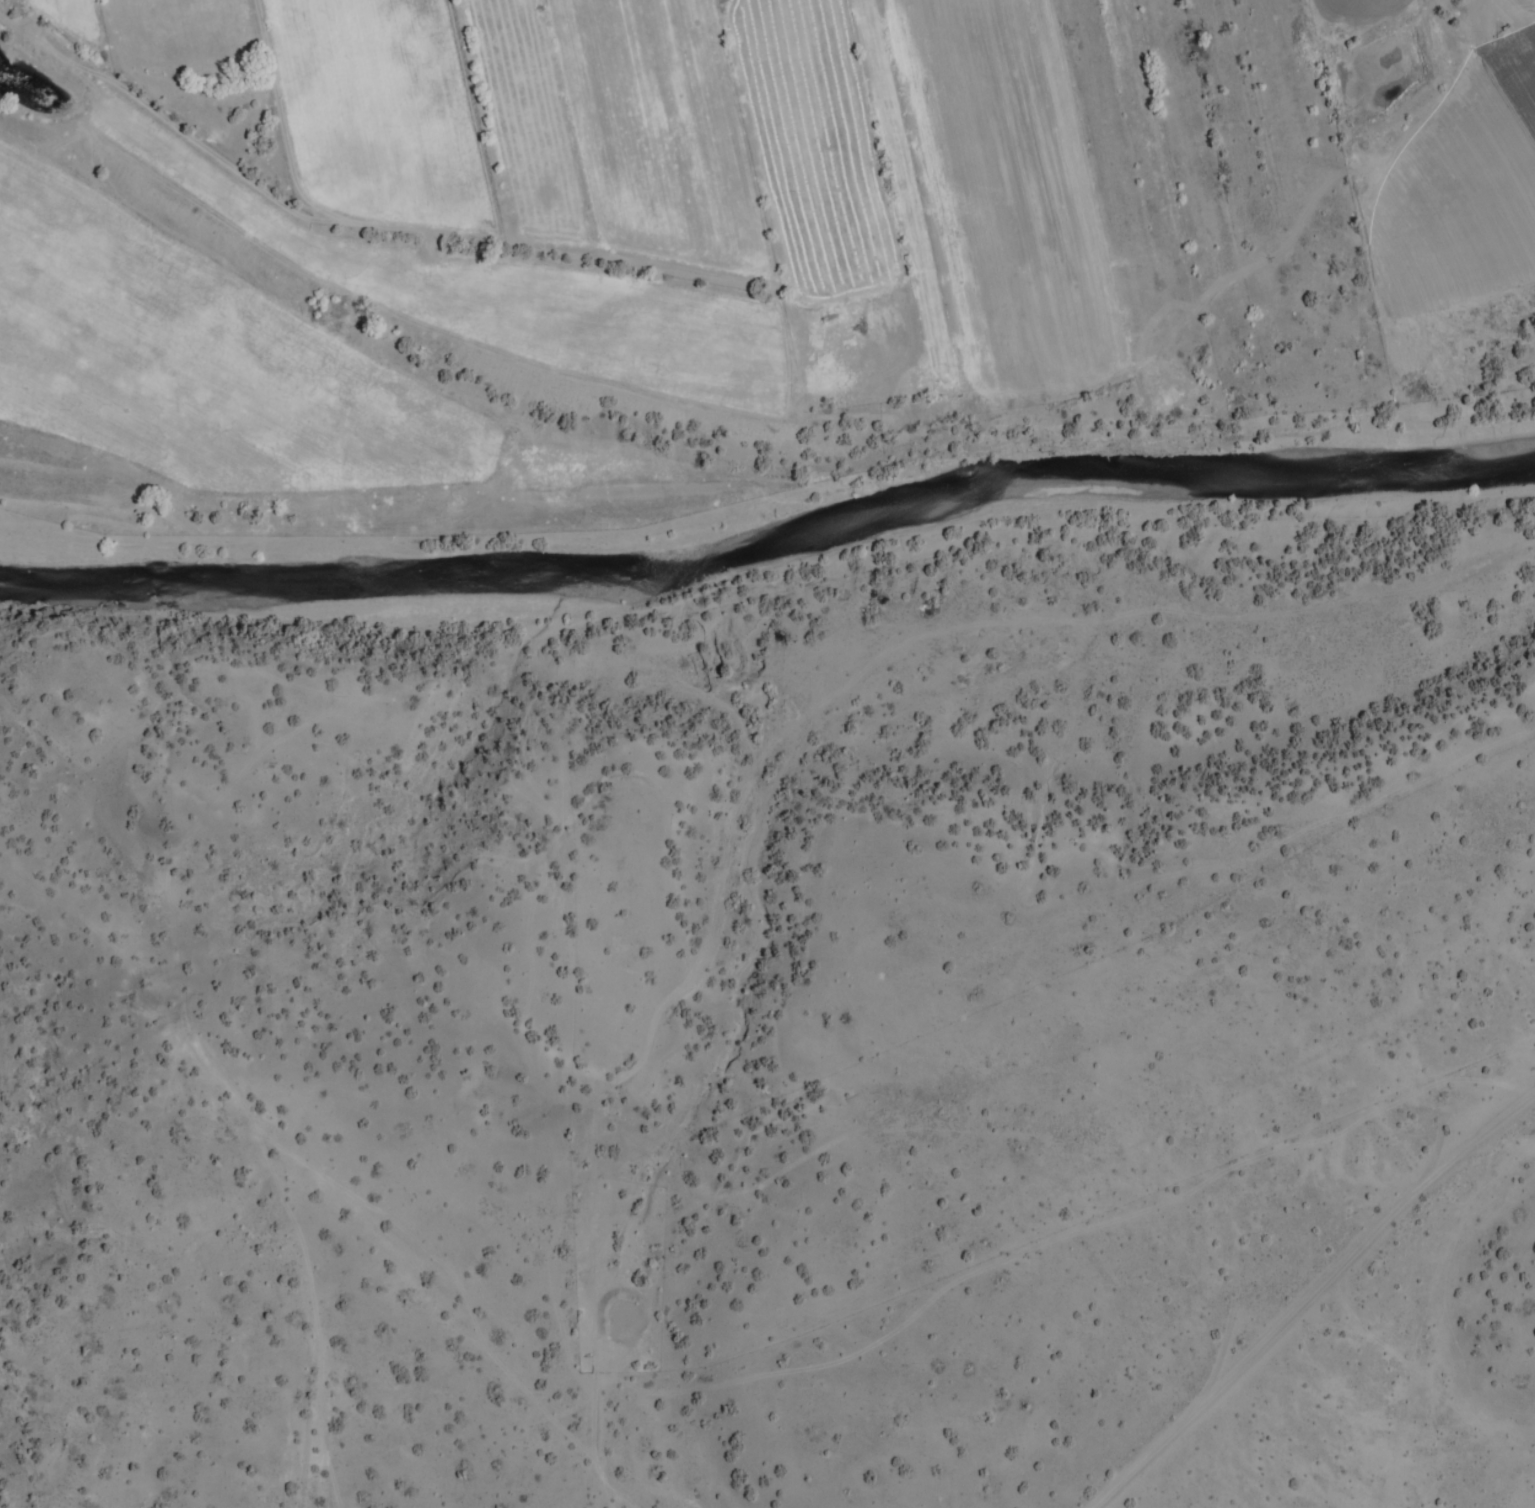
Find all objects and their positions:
river: (768, 546)
road: (1240, 1210)

